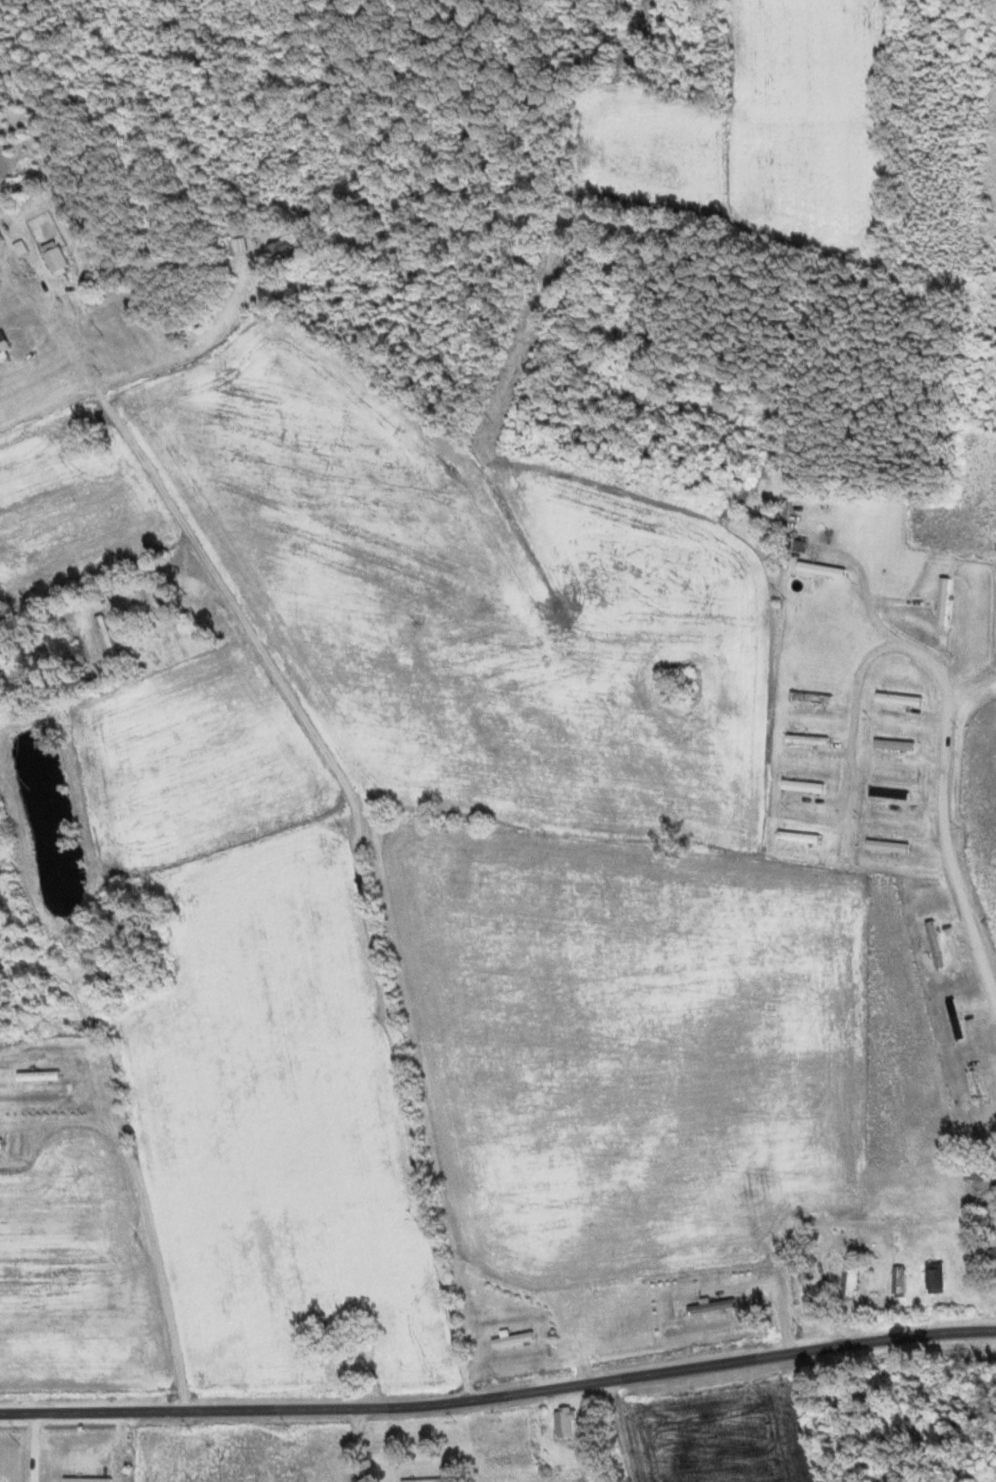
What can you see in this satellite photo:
building: (277, 246)
building: (53, 260)
building: (3, 345)
road: (601, 362)
road: (824, 385)
building: (941, 602)
building: (807, 698)
building: (895, 699)
building: (803, 740)
building: (890, 745)
building: (799, 786)
building: (795, 837)
building: (884, 846)
road: (364, 866)
road: (962, 906)
building: (933, 944)
building: (953, 1018)
building: (36, 1076)
building: (971, 1085)
building: (994, 1196)
building: (933, 1277)
building: (898, 1280)
building: (847, 1284)
building: (511, 1339)
road: (500, 1395)
building: (562, 1422)
road: (355, 1444)
building: (419, 1479)

